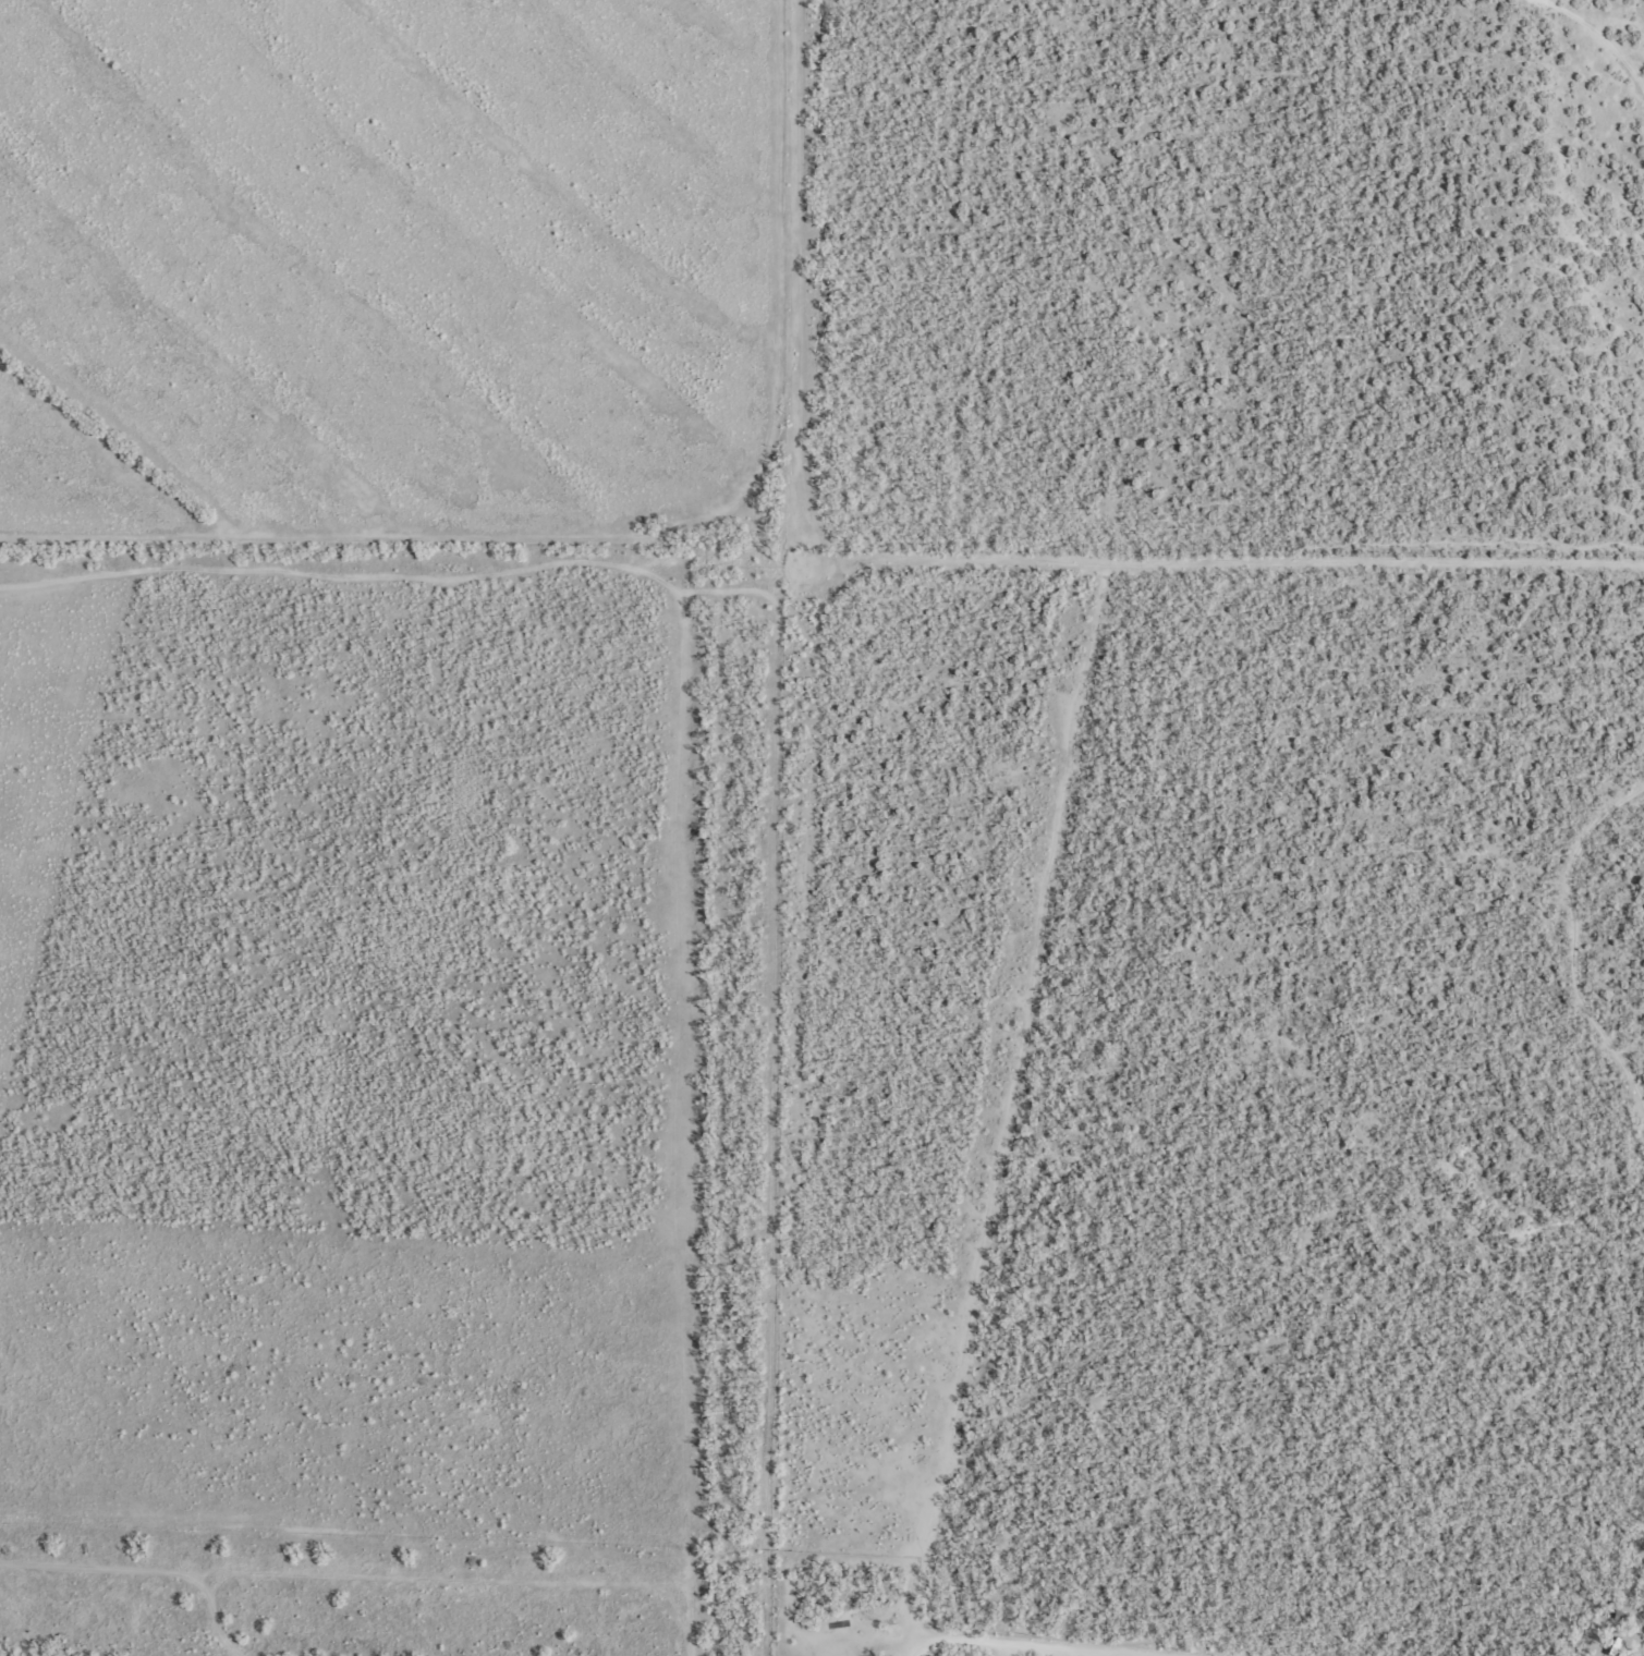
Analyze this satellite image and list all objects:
road: (194, 92)
road: (1557, 294)
road: (109, 297)
road: (1642, 410)
road: (1446, 1069)

